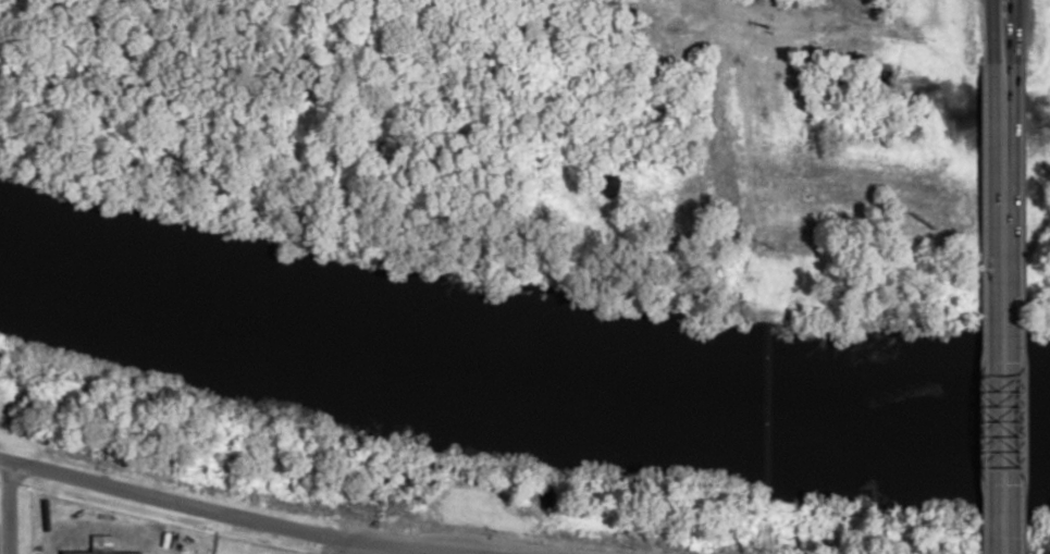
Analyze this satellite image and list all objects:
road: (724, 1)
road: (992, 30)
road: (1013, 32)
road: (992, 307)
road: (1013, 308)
river: (521, 360)
road: (10, 508)
road: (226, 514)
road: (355, 549)
building: (99, 553)

